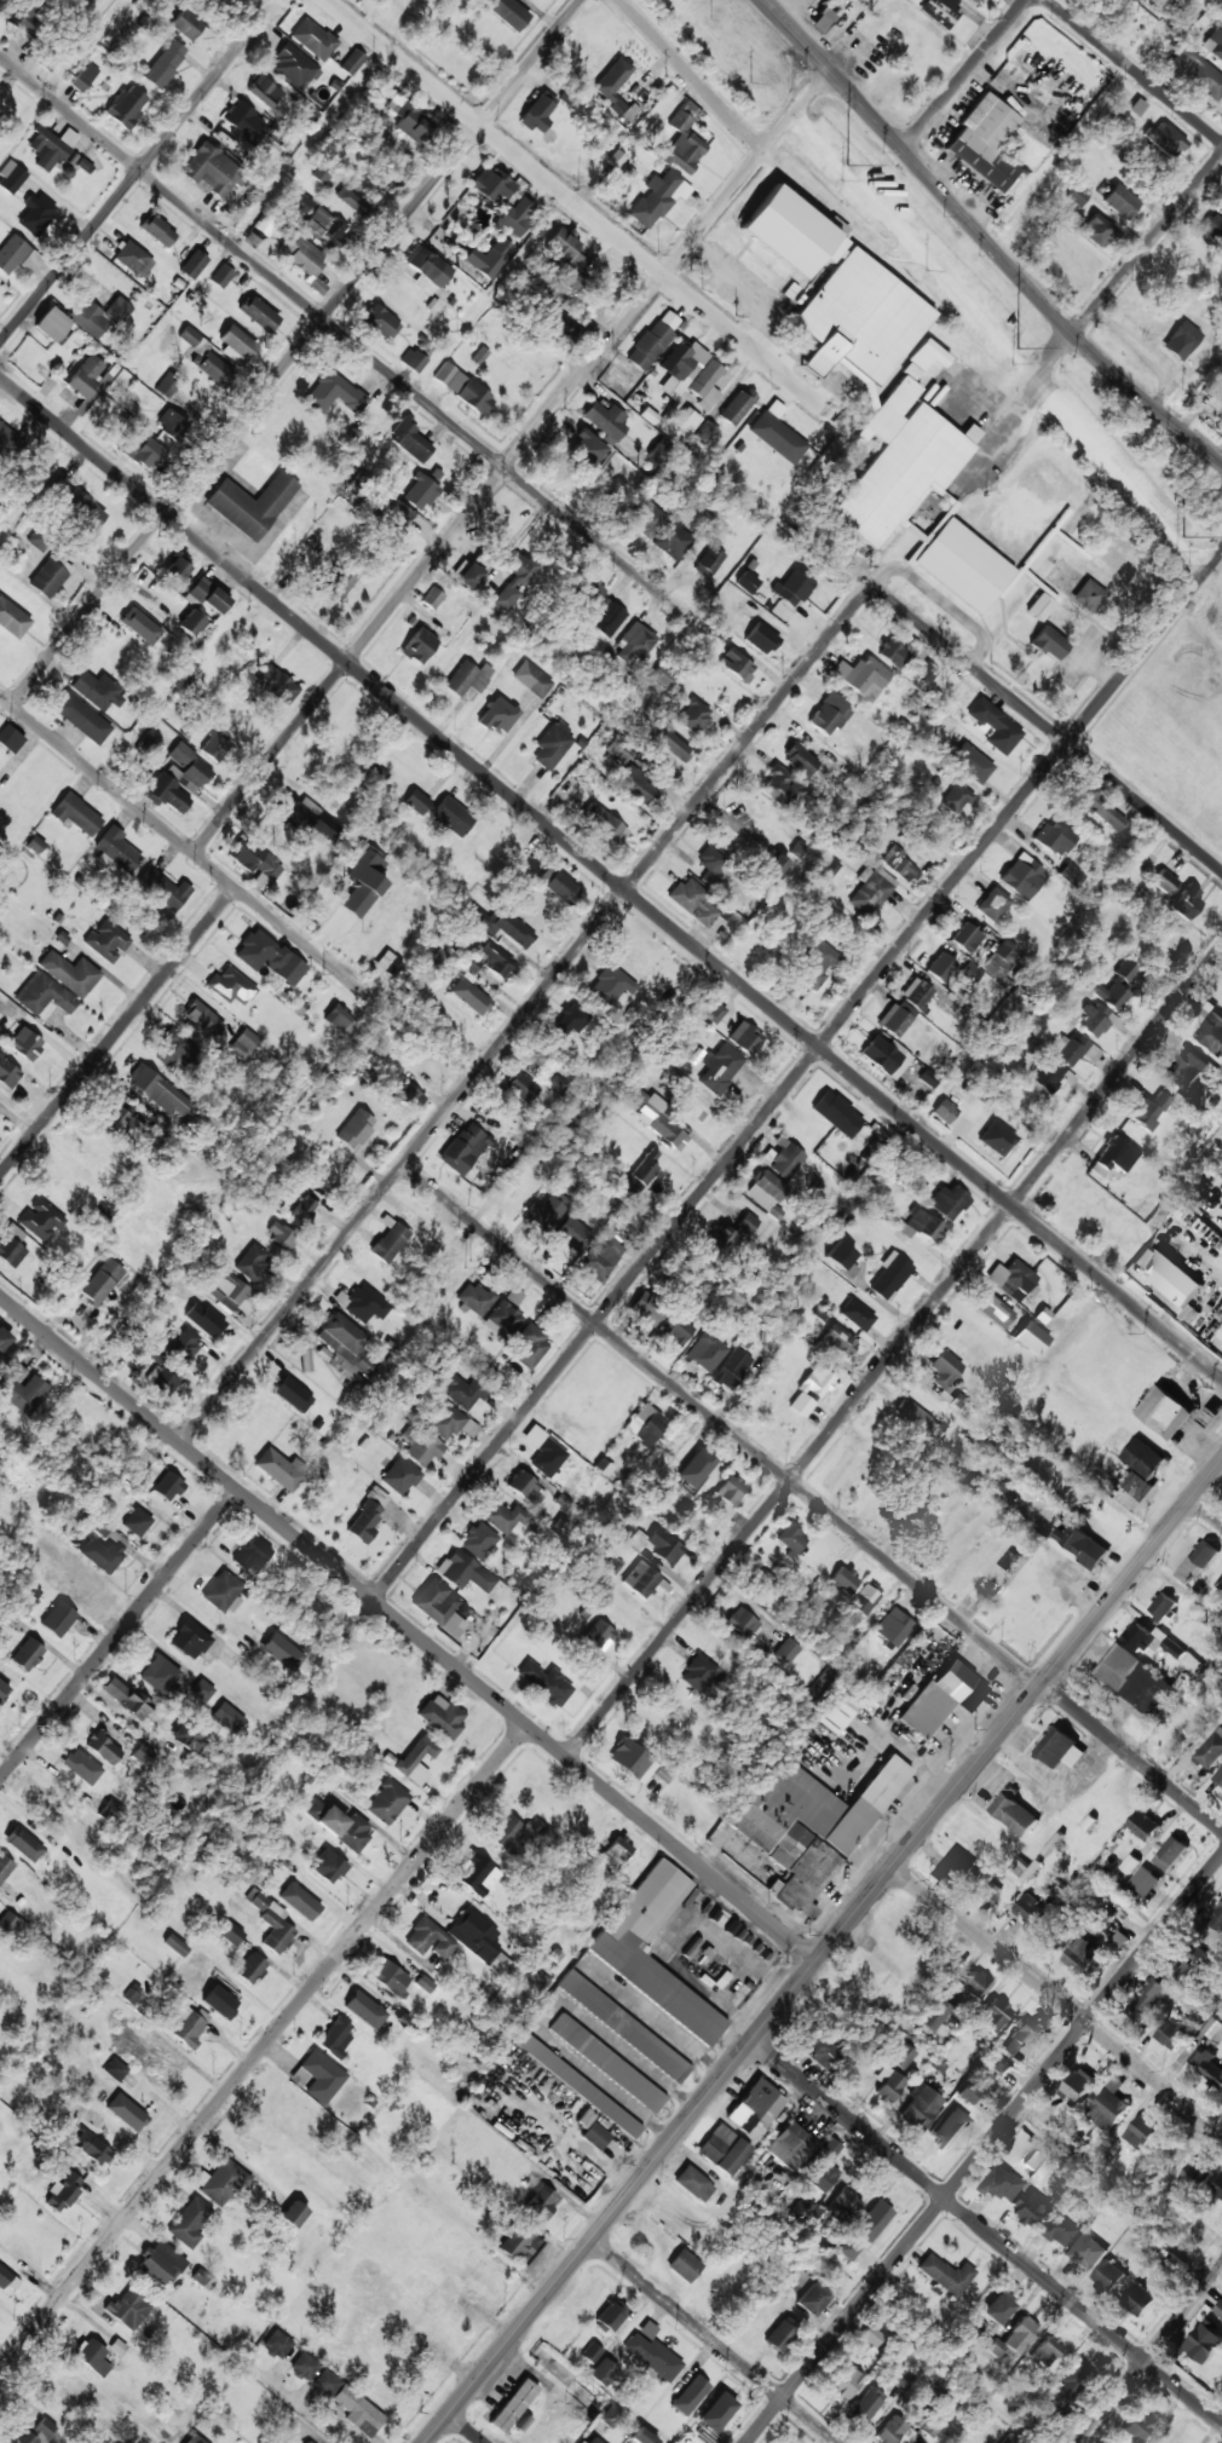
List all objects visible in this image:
building: (224, 0)
building: (975, 1)
building: (940, 11)
building: (508, 12)
building: (28, 17)
building: (823, 21)
building: (188, 28)
building: (313, 40)
building: (1214, 44)
building: (352, 63)
building: (165, 64)
building: (294, 67)
road: (1135, 70)
road: (692, 75)
road: (964, 75)
building: (1200, 76)
building: (83, 77)
building: (612, 79)
building: (264, 92)
building: (126, 106)
building: (1136, 108)
building: (690, 110)
building: (538, 113)
building: (243, 125)
building: (413, 126)
building: (1165, 139)
building: (984, 142)
building: (682, 145)
building: (52, 148)
power tower: (847, 167)
building: (212, 171)
road: (138, 172)
building: (11, 178)
building: (491, 185)
building: (1076, 196)
building: (658, 198)
building: (351, 201)
building: (1120, 201)
building: (1220, 203)
road: (587, 212)
building: (35, 214)
building: (518, 217)
building: (266, 223)
building: (324, 229)
building: (1214, 229)
building: (157, 231)
building: (1097, 231)
building: (791, 232)
road: (984, 238)
road: (1148, 246)
building: (565, 249)
building: (12, 254)
building: (302, 257)
building: (489, 258)
building: (133, 259)
building: (194, 265)
building: (426, 270)
building: (221, 276)
building: (570, 278)
building: (259, 313)
building: (99, 316)
building: (860, 319)
building: (380, 322)
building: (52, 325)
road: (332, 328)
building: (653, 340)
building: (1181, 341)
building: (235, 344)
power tower: (1016, 350)
road: (296, 352)
building: (413, 359)
building: (681, 368)
building: (214, 369)
building: (88, 379)
building: (705, 385)
building: (462, 388)
building: (334, 394)
building: (736, 408)
building: (686, 419)
building: (605, 420)
building: (171, 425)
building: (705, 433)
building: (777, 434)
building: (8, 439)
building: (410, 442)
building: (584, 449)
building: (145, 453)
building: (901, 456)
road: (511, 462)
building: (1057, 480)
building: (420, 492)
building: (75, 501)
building: (252, 505)
building: (644, 517)
building: (1019, 517)
building: (39, 540)
building: (673, 540)
power tower: (1186, 541)
building: (709, 563)
building: (963, 566)
building: (177, 569)
building: (1122, 569)
building: (469, 576)
building: (47, 578)
building: (515, 580)
building: (747, 582)
building: (339, 583)
building: (792, 587)
building: (590, 590)
building: (207, 595)
building: (1089, 597)
building: (433, 598)
building: (1042, 605)
building: (607, 617)
building: (12, 620)
building: (191, 623)
building: (140, 626)
building: (761, 639)
building: (636, 644)
building: (1048, 644)
building: (419, 646)
building: (893, 653)
building: (736, 664)
building: (861, 674)
building: (468, 678)
building: (532, 679)
building: (277, 685)
building: (98, 691)
building: (829, 714)
building: (498, 715)
building: (694, 716)
building: (81, 718)
building: (995, 726)
road: (1049, 728)
building: (10, 739)
building: (215, 744)
building: (552, 745)
building: (673, 745)
building: (618, 749)
building: (180, 754)
building: (799, 760)
building: (970, 764)
road: (98, 774)
building: (375, 777)
building: (178, 785)
building: (779, 785)
building: (636, 787)
building: (956, 797)
building: (416, 802)
building: (1093, 808)
building: (75, 814)
building: (453, 817)
building: (305, 818)
building: (606, 825)
building: (1055, 837)
building: (116, 849)
building: (796, 849)
building: (254, 863)
building: (710, 864)
building: (774, 865)
building: (899, 865)
road: (217, 872)
building: (1071, 875)
road: (610, 876)
building: (1022, 877)
building: (363, 881)
building: (1164, 882)
building: (558, 885)
building: (163, 889)
building: (870, 891)
building: (692, 901)
building: (1187, 903)
building: (993, 904)
building: (506, 927)
building: (967, 938)
building: (106, 941)
road: (309, 949)
building: (269, 957)
building: (495, 961)
building: (1002, 961)
building: (815, 966)
building: (940, 967)
building: (69, 973)
building: (230, 986)
building: (609, 986)
building: (1116, 987)
building: (916, 993)
building: (42, 995)
building: (469, 995)
road: (526, 1014)
building: (715, 1014)
building: (203, 1019)
building: (898, 1019)
building: (340, 1020)
building: (570, 1020)
building: (1096, 1020)
road: (119, 1032)
building: (1211, 1032)
building: (744, 1038)
building: (242, 1043)
building: (25, 1044)
building: (172, 1049)
building: (1073, 1049)
building: (886, 1056)
building: (719, 1068)
building: (1187, 1068)
building: (8, 1073)
building: (1050, 1074)
road: (796, 1076)
building: (928, 1078)
building: (520, 1088)
building: (156, 1090)
building: (410, 1096)
building: (635, 1096)
building: (945, 1111)
building: (1149, 1111)
building: (837, 1113)
building: (117, 1120)
building: (664, 1125)
building: (356, 1129)
building: (996, 1139)
building: (465, 1150)
building: (1113, 1157)
building: (786, 1162)
building: (646, 1168)
building: (766, 1191)
building: (946, 1202)
building: (302, 1210)
building: (544, 1214)
building: (41, 1221)
building: (917, 1225)
building: (281, 1234)
building: (572, 1234)
building: (728, 1235)
building: (388, 1243)
building: (11, 1245)
building: (842, 1258)
building: (601, 1260)
building: (252, 1262)
building: (889, 1275)
building: (1169, 1275)
building: (100, 1281)
building: (1014, 1281)
building: (225, 1290)
building: (475, 1297)
building: (362, 1303)
building: (647, 1309)
building: (993, 1310)
building: (857, 1315)
building: (203, 1319)
building: (502, 1320)
building: (676, 1331)
building: (1221, 1333)
building: (1031, 1338)
building: (4, 1339)
building: (835, 1344)
building: (184, 1347)
building: (346, 1347)
building: (529, 1348)
building: (707, 1349)
road: (894, 1352)
building: (160, 1361)
building: (732, 1369)
building: (161, 1381)
building: (947, 1381)
building: (815, 1383)
building: (23, 1390)
building: (462, 1392)
building: (293, 1395)
building: (801, 1405)
building: (1166, 1412)
building: (1210, 1417)
building: (920, 1421)
building: (451, 1423)
building: (645, 1425)
road: (721, 1425)
building: (423, 1450)
building: (544, 1452)
building: (1143, 1458)
building: (696, 1468)
building: (278, 1469)
building: (399, 1476)
building: (167, 1486)
building: (1139, 1486)
building: (525, 1487)
road: (1206, 1510)
building: (892, 1514)
building: (367, 1516)
building: (505, 1517)
building: (137, 1522)
building: (790, 1539)
building: (480, 1542)
building: (651, 1543)
building: (1080, 1545)
building: (104, 1551)
building: (252, 1556)
building: (1197, 1562)
building: (465, 1572)
building: (80, 1573)
building: (54, 1575)
building: (640, 1579)
building: (843, 1581)
building: (763, 1583)
building: (224, 1591)
building: (864, 1600)
building: (1163, 1606)
building: (439, 1607)
building: (58, 1619)
building: (740, 1623)
building: (893, 1627)
road: (408, 1629)
road: (117, 1634)
building: (598, 1635)
building: (189, 1640)
building: (1151, 1640)
building: (786, 1650)
building: (281, 1652)
building: (27, 1655)
building: (158, 1675)
building: (699, 1675)
building: (1136, 1681)
building: (544, 1683)
building: (202, 1689)
building: (6, 1690)
building: (126, 1698)
building: (941, 1699)
building: (836, 1707)
building: (440, 1716)
building: (227, 1717)
building: (189, 1739)
building: (103, 1748)
building: (136, 1748)
building: (1060, 1748)
building: (1210, 1751)
road: (1131, 1757)
building: (416, 1761)
building: (632, 1761)
building: (81, 1767)
building: (387, 1802)
building: (113, 1810)
building: (1014, 1813)
building: (339, 1825)
building: (808, 1825)
building: (1145, 1825)
building: (517, 1834)
building: (23, 1844)
building: (618, 1850)
building: (1170, 1854)
building: (5, 1867)
building: (328, 1867)
building: (953, 1868)
building: (477, 1874)
building: (1145, 1880)
building: (299, 1901)
building: (259, 1902)
building: (1032, 1913)
building: (639, 1918)
building: (1217, 1920)
building: (7, 1923)
building: (276, 1930)
building: (232, 1935)
building: (474, 1936)
building: (430, 1940)
building: (175, 1944)
road: (824, 1952)
building: (1083, 1954)
building: (501, 1965)
building: (250, 1969)
building: (390, 1977)
building: (537, 1978)
building: (425, 1983)
building: (975, 1984)
building: (1148, 1999)
road: (1056, 2001)
building: (364, 2010)
building: (993, 2015)
building: (934, 2016)
building: (623, 2027)
building: (189, 2028)
building: (1216, 2028)
building: (1175, 2033)
building: (336, 2036)
building: (1020, 2038)
road: (264, 2050)
building: (820, 2051)
building: (900, 2056)
building: (607, 2063)
building: (1206, 2065)
building: (1001, 2067)
building: (115, 2068)
building: (160, 2068)
building: (318, 2076)
building: (577, 2085)
building: (887, 2085)
building: (1078, 2086)
building: (755, 2107)
building: (1109, 2107)
building: (918, 2108)
building: (126, 2113)
building: (951, 2119)
building: (1141, 2131)
building: (595, 2136)
building: (795, 2140)
building: (91, 2148)
building: (722, 2149)
road: (984, 2149)
building: (1034, 2157)
building: (822, 2167)
building: (1194, 2176)
building: (220, 2182)
building: (693, 2184)
building: (1002, 2184)
building: (1218, 2188)
building: (63, 2191)
building: (540, 2202)
building: (1028, 2207)
building: (835, 2208)
building: (293, 2214)
building: (871, 2222)
building: (189, 2223)
building: (1057, 2230)
road: (986, 2232)
building: (520, 2240)
building: (848, 2248)
building: (1085, 2252)
building: (161, 2263)
building: (1171, 2263)
building: (685, 2266)
building: (945, 2275)
building: (1107, 2275)
building: (797, 2277)
building: (7, 2280)
building: (812, 2299)
building: (1140, 2299)
building: (128, 2309)
building: (998, 2309)
building: (1218, 2309)
building: (612, 2315)
building: (647, 2330)
building: (782, 2335)
building: (871, 2337)
building: (1015, 2338)
road: (715, 2341)
building: (1204, 2341)
building: (277, 2344)
building: (1047, 2350)
road: (1147, 2351)
building: (590, 2353)
building: (653, 2357)
building: (93, 2358)
building: (305, 2366)
building: (601, 2373)
building: (845, 2381)
building: (325, 2384)
building: (1070, 2385)
building: (690, 2396)
building: (867, 2403)
building: (722, 2404)
building: (513, 2405)
building: (356, 2408)
road: (467, 2428)
building: (1137, 2428)
building: (892, 2431)
building: (28, 2433)
building: (642, 2437)
building: (594, 2441)
building: (306, 2442)
building: (581, 2442)
building: (692, 2442)

